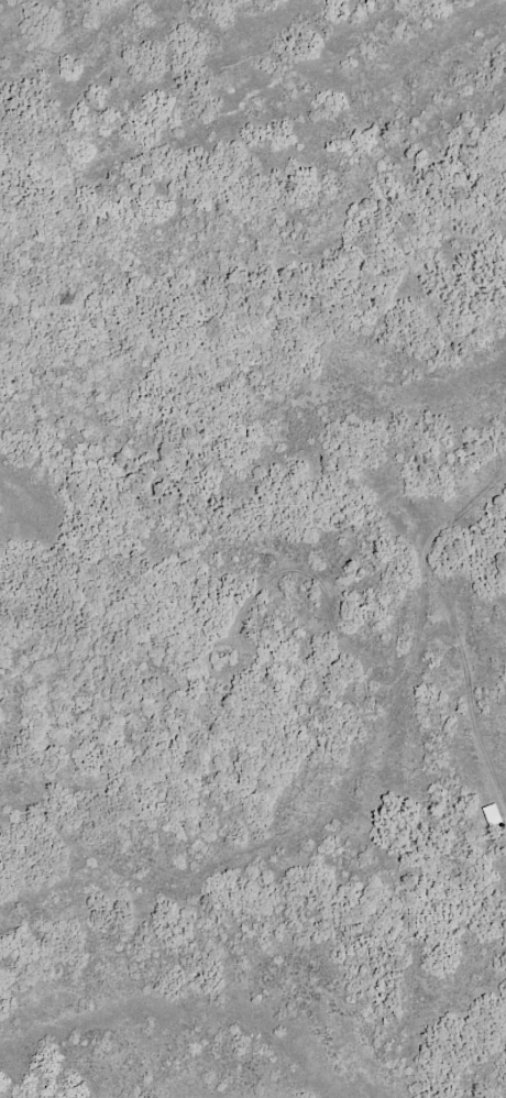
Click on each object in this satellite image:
road: (12, 6)
road: (466, 600)

